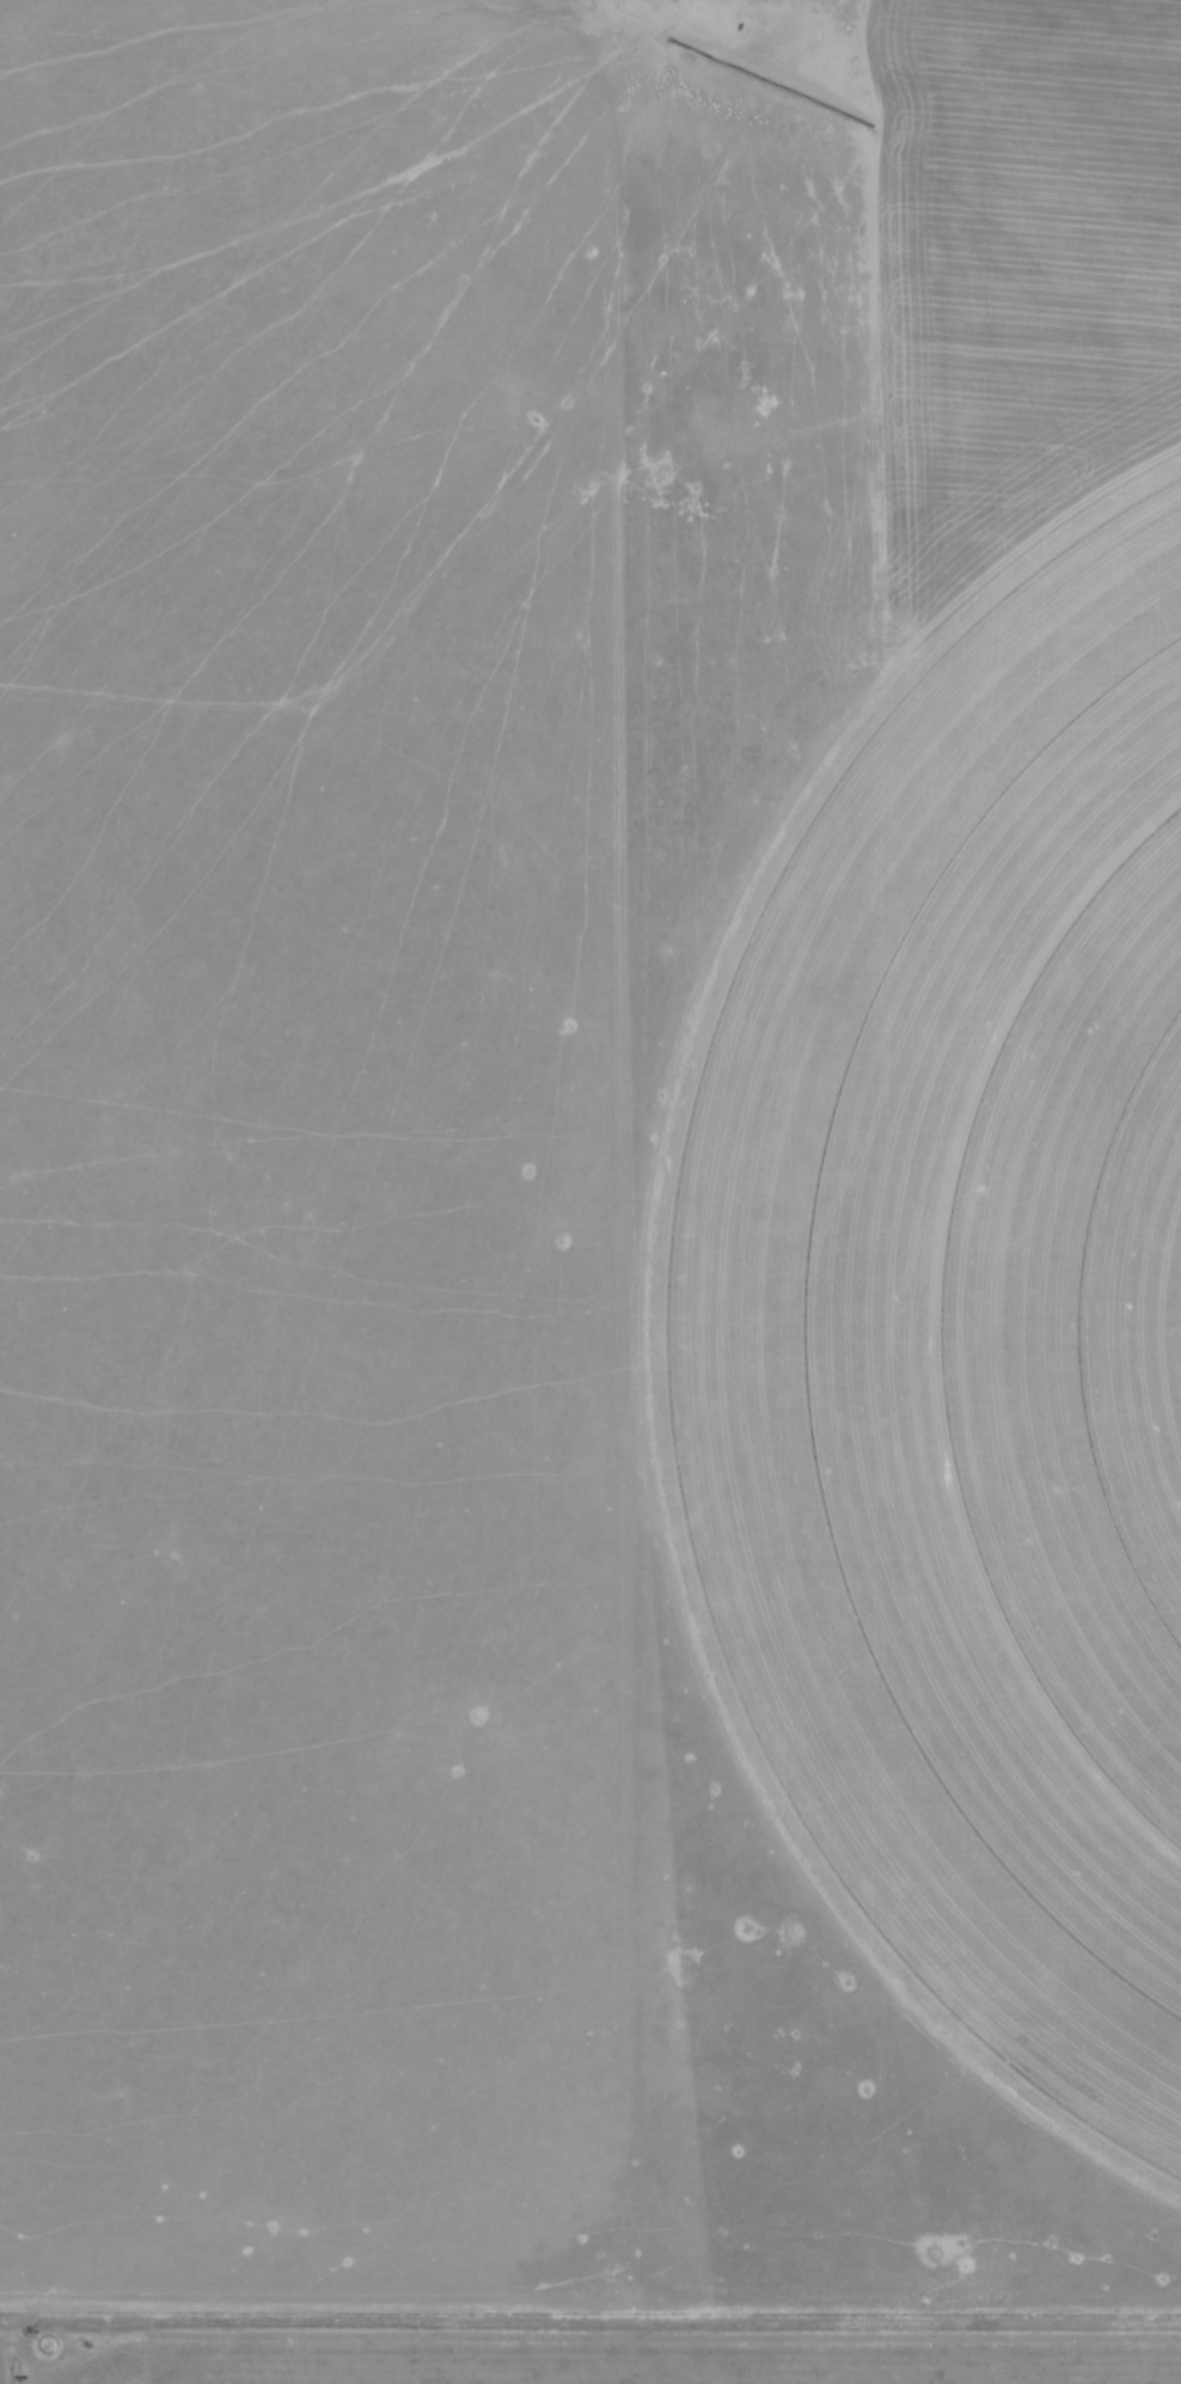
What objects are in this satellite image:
road: (1057, 5)
road: (452, 2306)
road: (1042, 2307)

